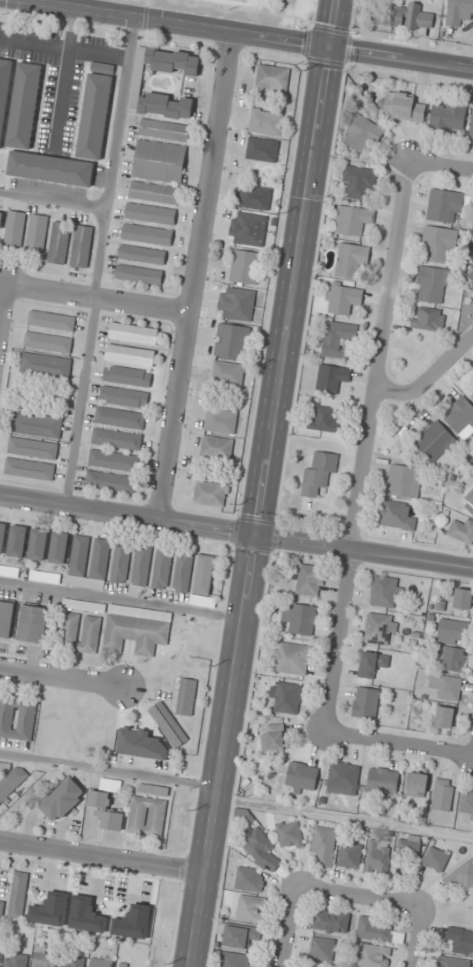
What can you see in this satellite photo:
building: (459, 12)
building: (412, 17)
road: (249, 33)
traffic signals: (331, 47)
building: (172, 61)
building: (273, 78)
building: (24, 105)
building: (161, 105)
building: (403, 107)
building: (96, 111)
building: (449, 116)
building: (265, 121)
building: (164, 130)
building: (471, 133)
building: (262, 149)
building: (159, 161)
road: (442, 166)
building: (50, 168)
building: (359, 182)
building: (154, 192)
building: (255, 197)
building: (445, 205)
building: (150, 213)
building: (1, 216)
building: (353, 220)
building: (248, 228)
building: (15, 229)
building: (37, 233)
building: (147, 234)
building: (59, 242)
building: (439, 244)
building: (81, 246)
building: (142, 254)
building: (351, 260)
building: (245, 267)
building: (139, 273)
building: (470, 273)
road: (194, 276)
building: (433, 285)
building: (343, 298)
road: (98, 300)
building: (237, 302)
road: (4, 311)
building: (428, 319)
building: (52, 320)
building: (134, 333)
building: (338, 338)
building: (232, 341)
building: (48, 342)
building: (130, 355)
building: (46, 365)
building: (228, 373)
road: (429, 375)
building: (127, 376)
building: (332, 378)
building: (124, 396)
building: (472, 397)
building: (460, 415)
building: (120, 418)
building: (325, 419)
building: (221, 420)
building: (37, 424)
building: (117, 439)
building: (434, 441)
road: (368, 445)
building: (217, 447)
building: (33, 448)
building: (113, 460)
building: (29, 469)
building: (319, 474)
building: (110, 481)
building: (404, 481)
road: (265, 483)
building: (210, 493)
building: (468, 502)
building: (396, 516)
road: (128, 517)
building: (462, 531)
building: (2, 536)
traffic signals: (257, 539)
building: (17, 541)
building: (38, 544)
building: (59, 548)
road: (365, 552)
building: (88, 562)
building: (120, 563)
building: (141, 565)
building: (162, 569)
building: (9, 571)
building: (183, 571)
building: (205, 574)
building: (45, 577)
building: (309, 580)
building: (386, 592)
building: (463, 599)
building: (202, 601)
building: (6, 618)
building: (300, 619)
building: (32, 623)
building: (136, 629)
building: (380, 629)
building: (453, 631)
building: (80, 632)
building: (293, 658)
building: (451, 658)
building: (373, 664)
road: (62, 675)
building: (447, 686)
building: (186, 696)
building: (286, 697)
building: (365, 703)
building: (445, 716)
building: (17, 718)
building: (168, 724)
building: (275, 737)
road: (397, 741)
building: (141, 744)
building: (301, 776)
building: (343, 778)
building: (382, 781)
building: (11, 782)
building: (417, 784)
building: (153, 789)
building: (443, 794)
building: (63, 800)
building: (467, 803)
building: (106, 805)
building: (146, 816)
road: (347, 818)
building: (290, 835)
building: (323, 846)
building: (408, 848)
building: (261, 850)
building: (350, 856)
building: (378, 856)
road: (105, 858)
building: (435, 858)
building: (462, 875)
building: (250, 880)
building: (18, 895)
road: (359, 897)
building: (1, 906)
building: (251, 908)
building: (50, 909)
building: (86, 915)
building: (331, 921)
building: (133, 922)
road: (291, 928)
building: (379, 931)
building: (242, 936)
road: (416, 936)
building: (461, 939)
building: (322, 949)
building: (373, 956)
building: (0, 957)
building: (15, 960)
building: (44, 960)
building: (236, 960)
building: (100, 961)
building: (71, 962)
building: (455, 962)
building: (126, 965)

